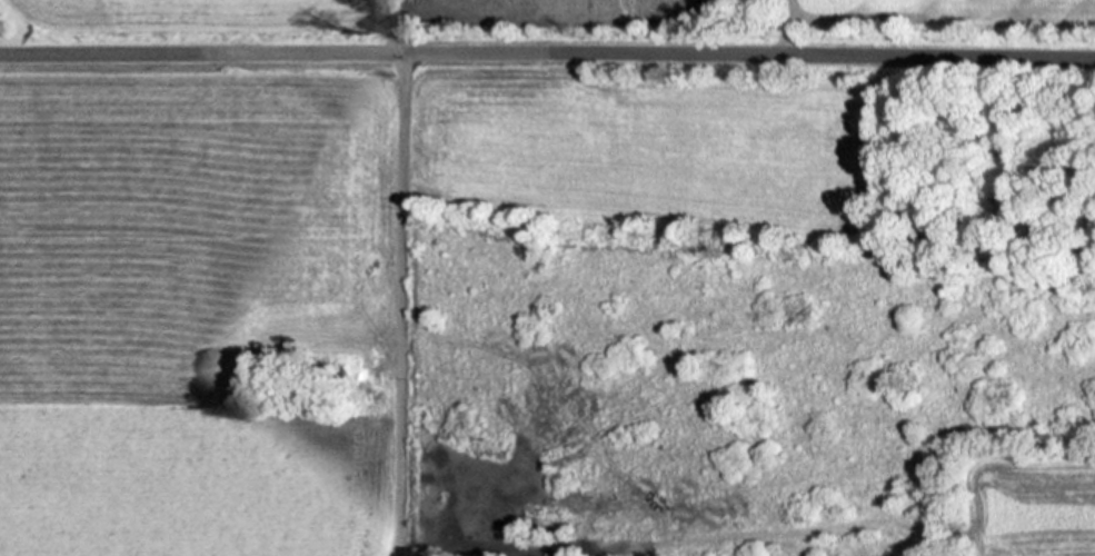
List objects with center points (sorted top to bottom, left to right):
road: (547, 54)
road: (402, 306)

